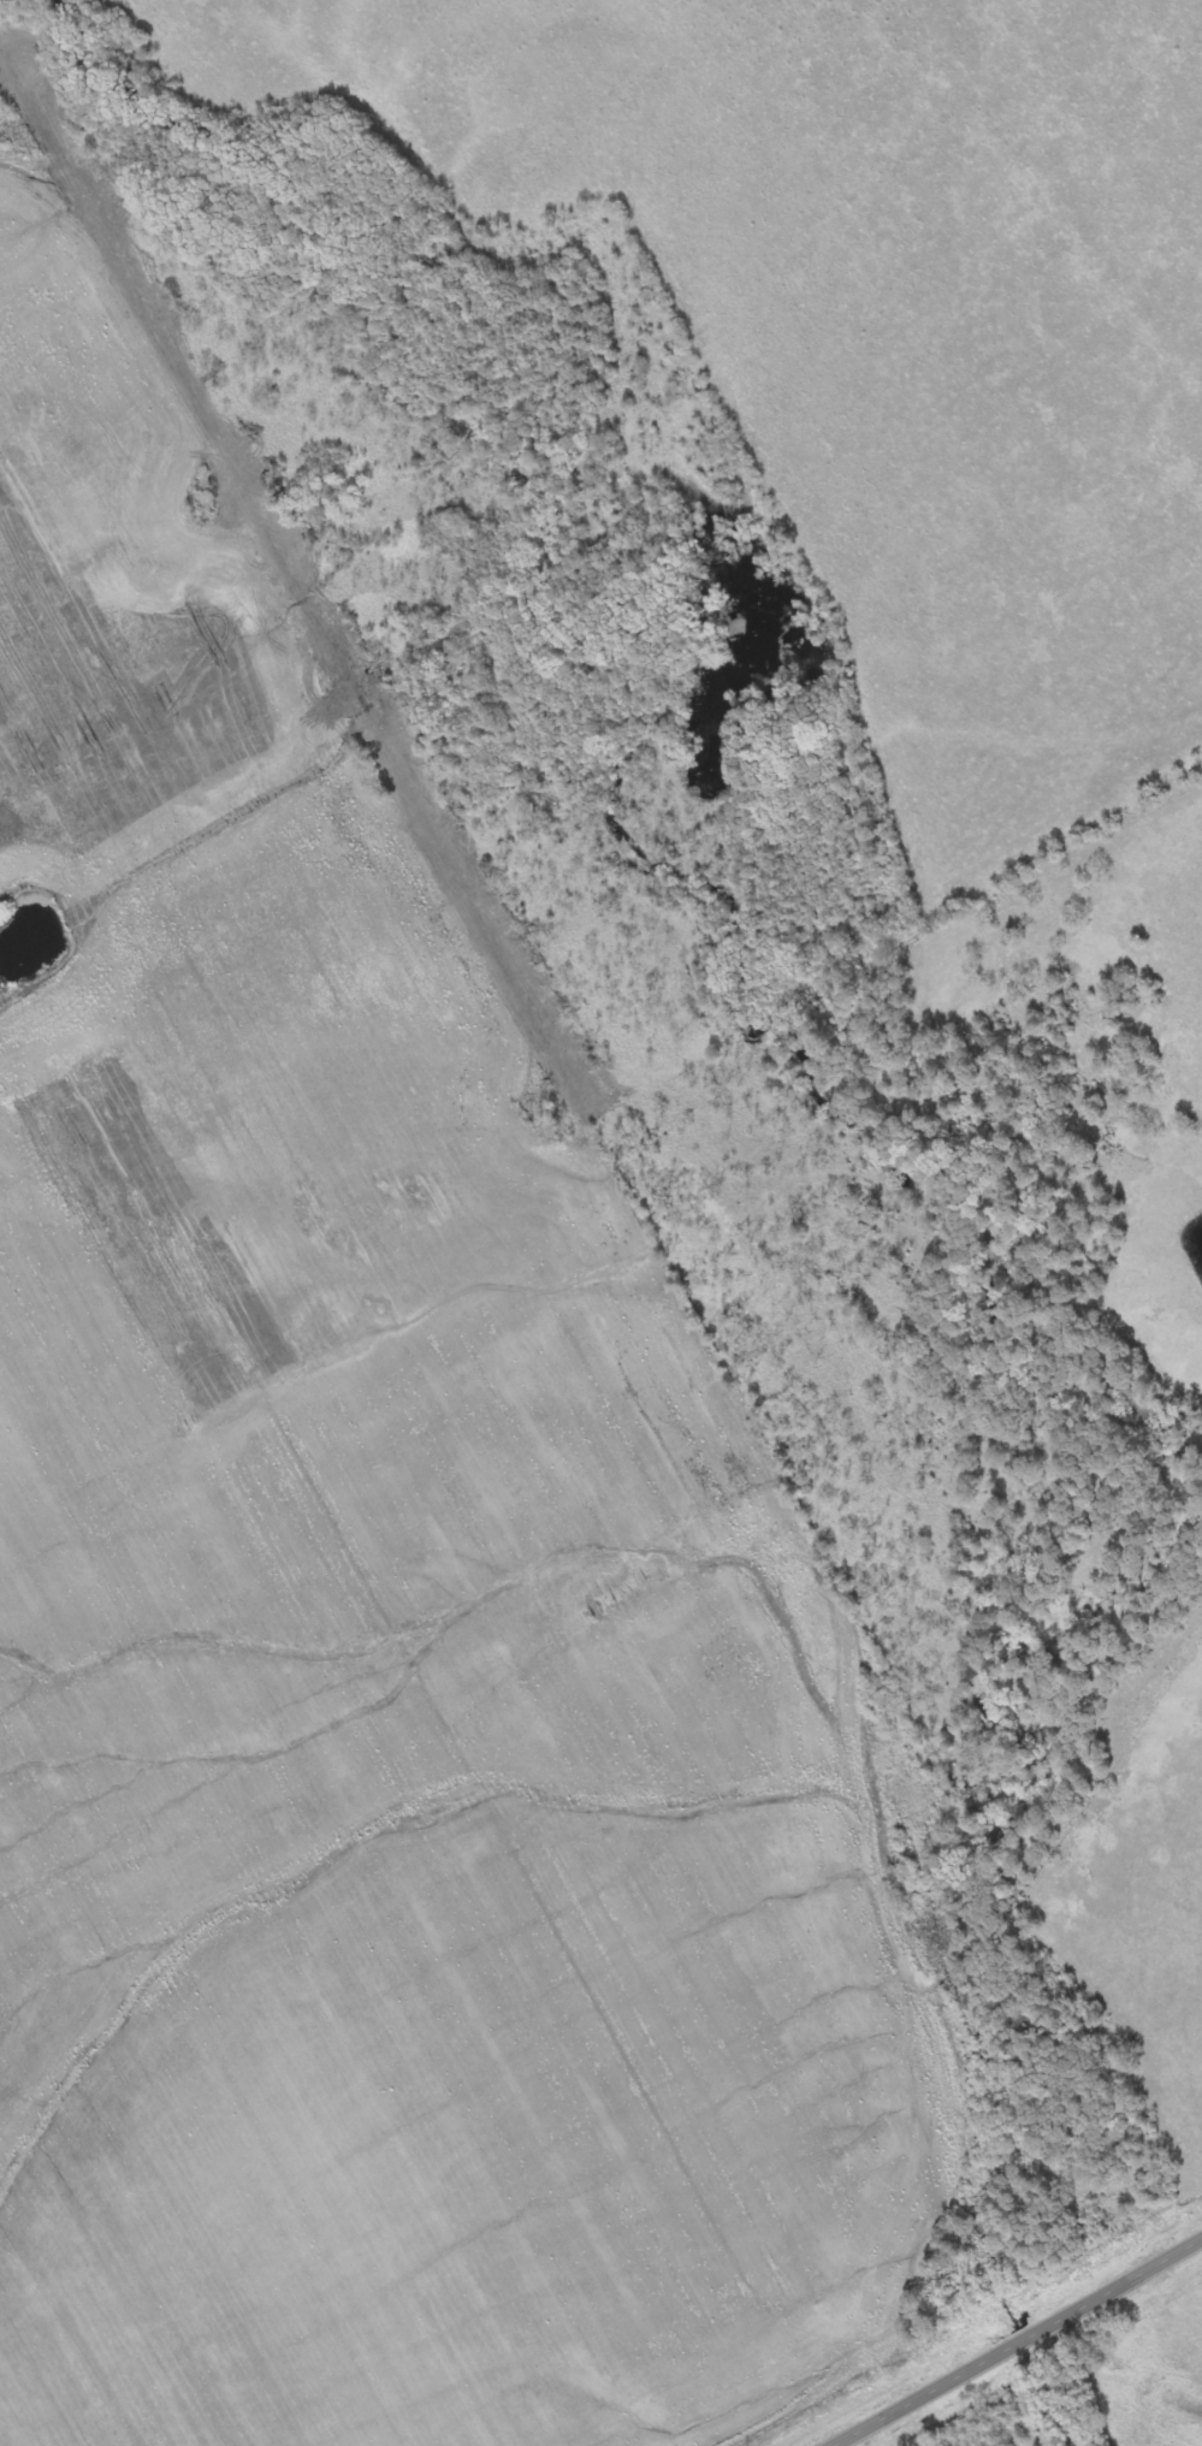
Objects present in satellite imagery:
road: (1017, 2343)

